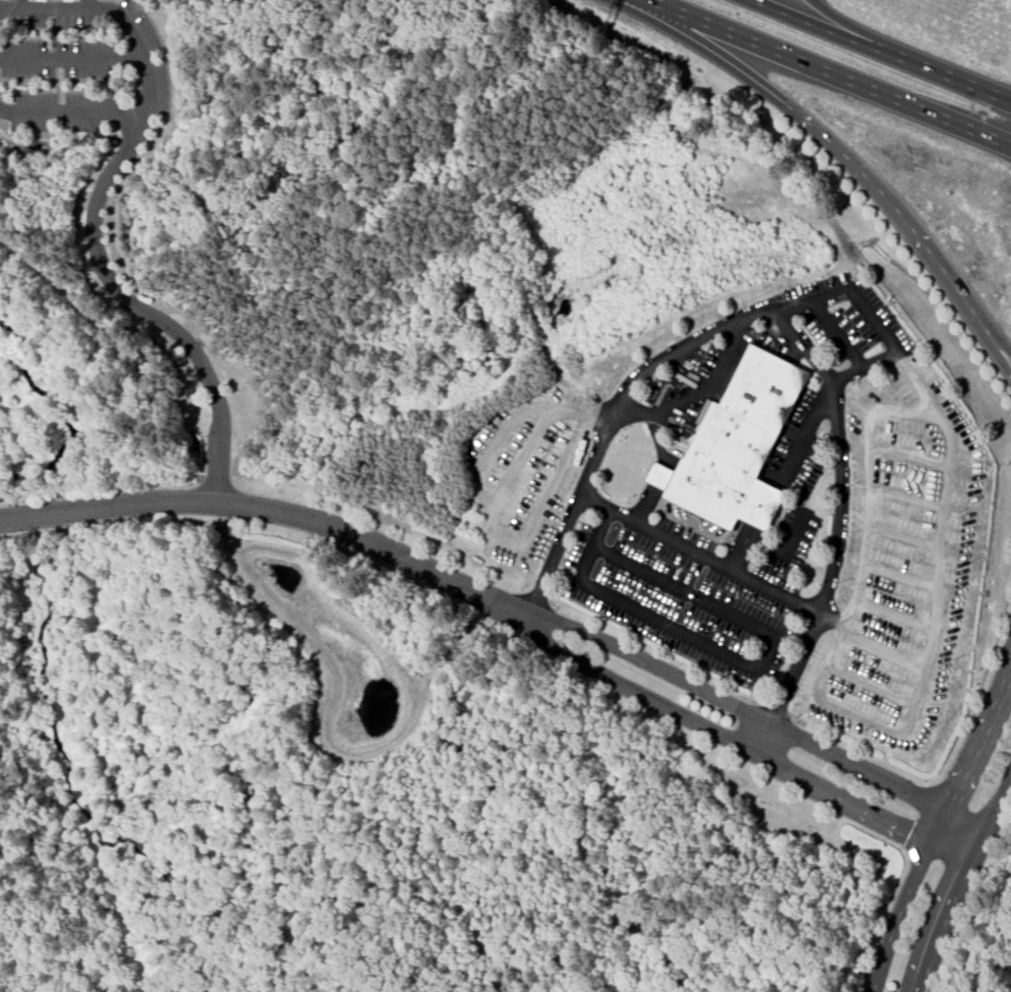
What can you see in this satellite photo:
road: (884, 39)
road: (882, 49)
road: (72, 57)
road: (827, 73)
road: (71, 108)
road: (841, 156)
road: (95, 211)
road: (880, 326)
road: (836, 334)
parking lot: (775, 344)
road: (862, 367)
road: (697, 398)
building: (739, 444)
parking lot: (798, 453)
road: (839, 454)
road: (908, 456)
road: (659, 473)
parking lot: (525, 474)
road: (867, 476)
road: (779, 479)
road: (906, 498)
road: (270, 508)
road: (902, 538)
parking lot: (790, 539)
parking lot: (897, 555)
road: (702, 557)
road: (898, 576)
parking lot: (687, 592)
road: (881, 649)
road: (743, 663)
road: (868, 685)
road: (754, 716)
road: (872, 723)
road: (758, 734)
road: (742, 741)
road: (938, 828)
road: (959, 882)

